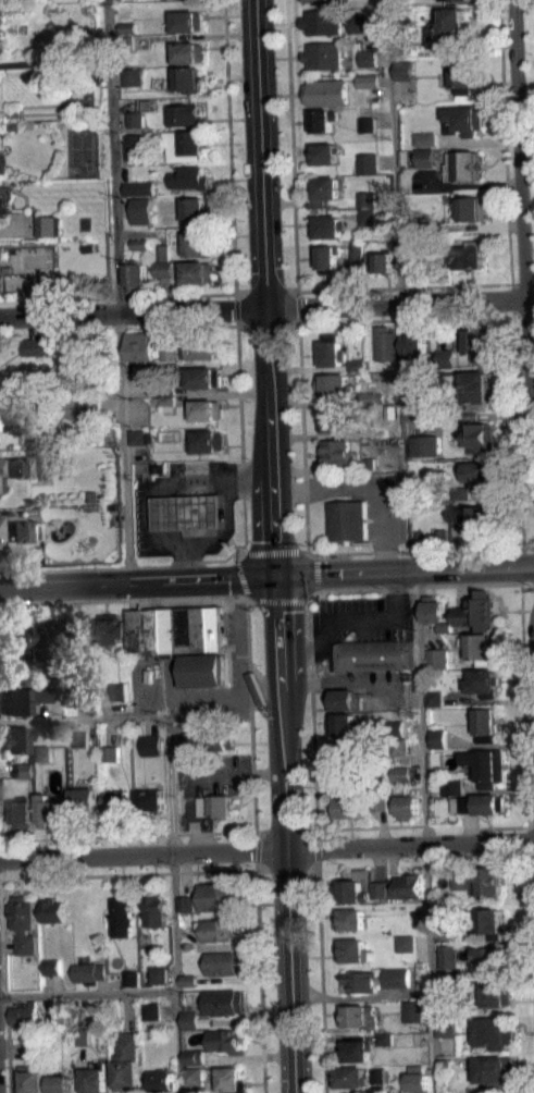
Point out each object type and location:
building: (183, 0)
building: (314, 0)
building: (452, 0)
building: (358, 1)
building: (125, 2)
building: (1, 12)
building: (186, 21)
building: (323, 21)
building: (360, 23)
building: (127, 26)
building: (450, 29)
building: (125, 41)
building: (187, 51)
building: (324, 54)
building: (369, 58)
building: (369, 66)
building: (405, 71)
building: (132, 74)
building: (461, 74)
building: (187, 78)
building: (369, 81)
building: (133, 84)
building: (369, 88)
building: (326, 93)
building: (184, 114)
building: (134, 119)
building: (323, 119)
building: (464, 120)
building: (367, 124)
building: (135, 127)
building: (367, 133)
building: (426, 138)
building: (185, 145)
building: (133, 146)
building: (426, 146)
park: (80, 147)
road: (394, 151)
road: (290, 152)
building: (322, 153)
building: (426, 157)
road: (506, 158)
building: (369, 162)
building: (462, 165)
building: (191, 177)
building: (138, 188)
building: (322, 189)
building: (138, 196)
building: (365, 198)
building: (365, 207)
building: (471, 207)
building: (196, 209)
building: (141, 210)
building: (2, 216)
building: (365, 216)
building: (47, 224)
building: (367, 224)
building: (327, 226)
building: (139, 243)
building: (196, 244)
road: (523, 246)
building: (413, 248)
building: (356, 249)
building: (163, 251)
building: (327, 257)
building: (465, 257)
building: (415, 259)
building: (380, 262)
road: (233, 263)
building: (471, 267)
building: (163, 269)
building: (197, 271)
building: (136, 275)
building: (163, 277)
building: (2, 282)
road: (530, 283)
road: (266, 286)
road: (372, 287)
road: (117, 290)
building: (2, 292)
road: (266, 307)
road: (523, 316)
road: (512, 323)
road: (266, 324)
road: (178, 327)
building: (414, 342)
building: (386, 343)
building: (475, 343)
building: (36, 346)
building: (139, 346)
building: (198, 348)
building: (332, 351)
building: (170, 352)
building: (446, 357)
building: (170, 360)
building: (356, 365)
building: (475, 365)
building: (202, 377)
building: (334, 384)
building: (476, 385)
building: (371, 397)
building: (424, 402)
building: (165, 403)
building: (88, 405)
building: (206, 409)
building: (163, 410)
building: (389, 410)
building: (425, 410)
building: (8, 414)
building: (87, 417)
building: (334, 420)
road: (240, 425)
building: (139, 437)
building: (475, 437)
building: (207, 441)
building: (139, 444)
building: (424, 445)
building: (335, 453)
building: (368, 463)
building: (5, 466)
building: (21, 466)
building: (44, 470)
building: (480, 474)
road: (156, 487)
building: (460, 492)
building: (462, 501)
building: (188, 513)
gas station: (188, 513)
building: (470, 518)
building: (347, 520)
building: (20, 530)
building: (442, 536)
road: (306, 543)
road: (302, 549)
road: (273, 550)
road: (240, 551)
road: (315, 555)
road: (235, 556)
road: (209, 560)
road: (406, 570)
road: (316, 573)
traffic signals: (277, 575)
road: (240, 578)
road: (138, 579)
road: (418, 586)
road: (311, 594)
road: (123, 599)
road: (280, 601)
road: (251, 602)
building: (434, 609)
building: (475, 612)
road: (356, 618)
parking lot: (359, 621)
building: (78, 626)
building: (444, 627)
building: (112, 628)
building: (47, 635)
building: (184, 638)
road: (533, 638)
building: (16, 641)
building: (481, 646)
building: (375, 655)
building: (438, 658)
building: (483, 680)
building: (117, 690)
building: (24, 698)
building: (434, 698)
building: (117, 699)
building: (344, 699)
road: (523, 699)
building: (39, 701)
building: (435, 707)
road: (250, 716)
road: (83, 717)
road: (312, 719)
building: (486, 723)
building: (346, 725)
building: (394, 727)
building: (16, 738)
building: (438, 738)
building: (79, 739)
building: (216, 740)
building: (150, 745)
building: (399, 746)
building: (78, 747)
building: (345, 751)
building: (41, 752)
building: (109, 753)
building: (110, 761)
building: (487, 766)
building: (23, 769)
road: (197, 773)
parking lot: (212, 773)
building: (400, 773)
building: (23, 778)
building: (347, 779)
building: (401, 782)
building: (452, 786)
building: (452, 796)
building: (150, 799)
building: (114, 800)
building: (378, 801)
building: (405, 801)
building: (83, 802)
building: (479, 803)
building: (213, 806)
building: (350, 807)
building: (22, 811)
building: (46, 811)
road: (371, 827)
road: (498, 827)
road: (259, 831)
road: (284, 831)
road: (426, 831)
road: (316, 832)
road: (286, 834)
road: (125, 835)
road: (316, 846)
road: (252, 847)
road: (0, 849)
road: (266, 849)
road: (253, 864)
road: (310, 868)
road: (261, 869)
road: (286, 869)
road: (0, 870)
road: (238, 870)
building: (489, 882)
building: (403, 885)
building: (359, 886)
building: (461, 887)
building: (216, 896)
building: (378, 897)
building: (184, 902)
road: (172, 904)
building: (51, 910)
building: (153, 911)
building: (185, 911)
building: (120, 917)
building: (350, 919)
building: (23, 923)
building: (492, 923)
building: (216, 929)
road: (530, 929)
building: (449, 930)
building: (406, 942)
building: (350, 949)
building: (406, 951)
building: (449, 955)
building: (492, 959)
building: (223, 962)
building: (50, 966)
building: (87, 972)
building: (157, 973)
building: (50, 974)
road: (320, 975)
building: (129, 978)
building: (187, 980)
building: (375, 980)
road: (3, 985)
building: (129, 986)
building: (187, 987)
building: (448, 992)
road: (87, 993)
building: (496, 993)
building: (225, 1002)
building: (408, 1005)
building: (150, 1010)
building: (22, 1012)
building: (358, 1016)
building: (50, 1017)
building: (149, 1019)
building: (190, 1019)
building: (421, 1024)
building: (445, 1028)
building: (494, 1032)
building: (446, 1035)
building: (82, 1036)
building: (420, 1036)
building: (384, 1037)
building: (222, 1040)
building: (33, 1046)
building: (384, 1046)
building: (356, 1049)
building: (193, 1056)
building: (126, 1061)
building: (193, 1065)
building: (446, 1065)
building: (495, 1069)
building: (376, 1073)
building: (191, 1076)
building: (348, 1076)
building: (94, 1078)
building: (29, 1079)
building: (419, 1079)
building: (159, 1080)
building: (229, 1080)
building: (376, 1082)
building: (59, 1083)

